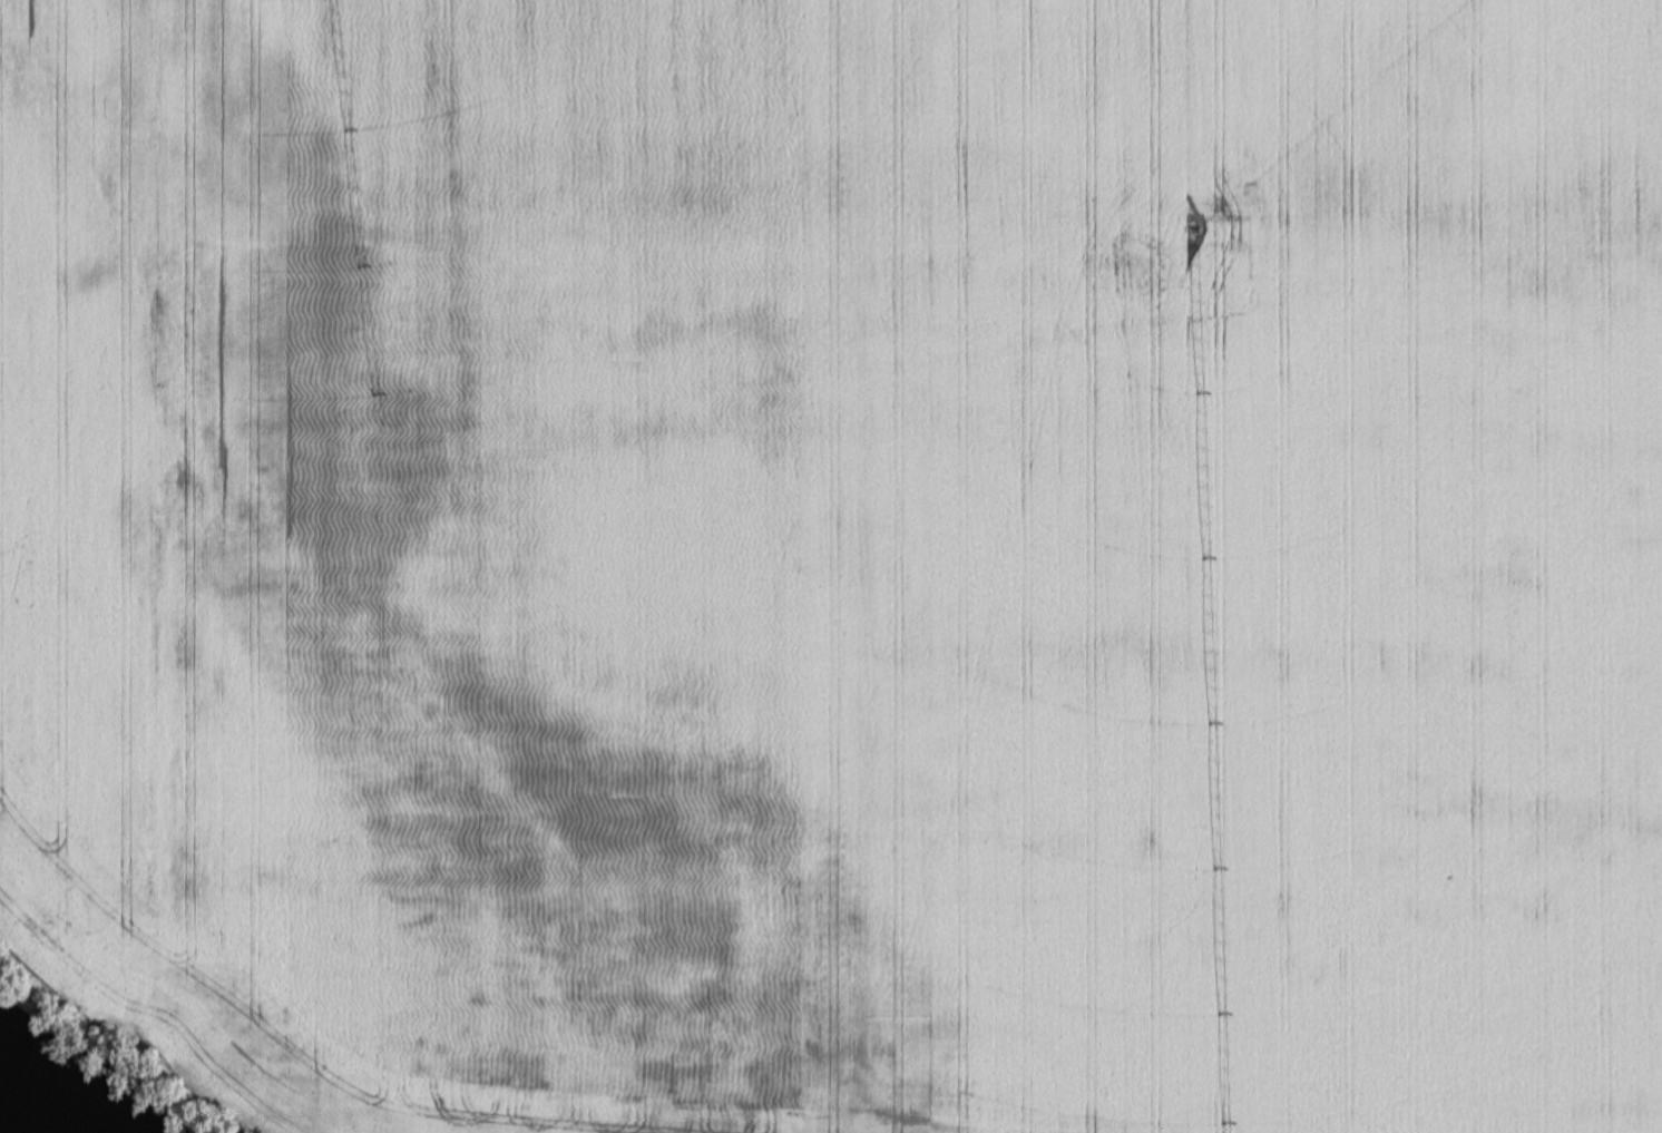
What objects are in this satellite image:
crop: (668, 236)
crop: (911, 688)
river: (28, 1112)

